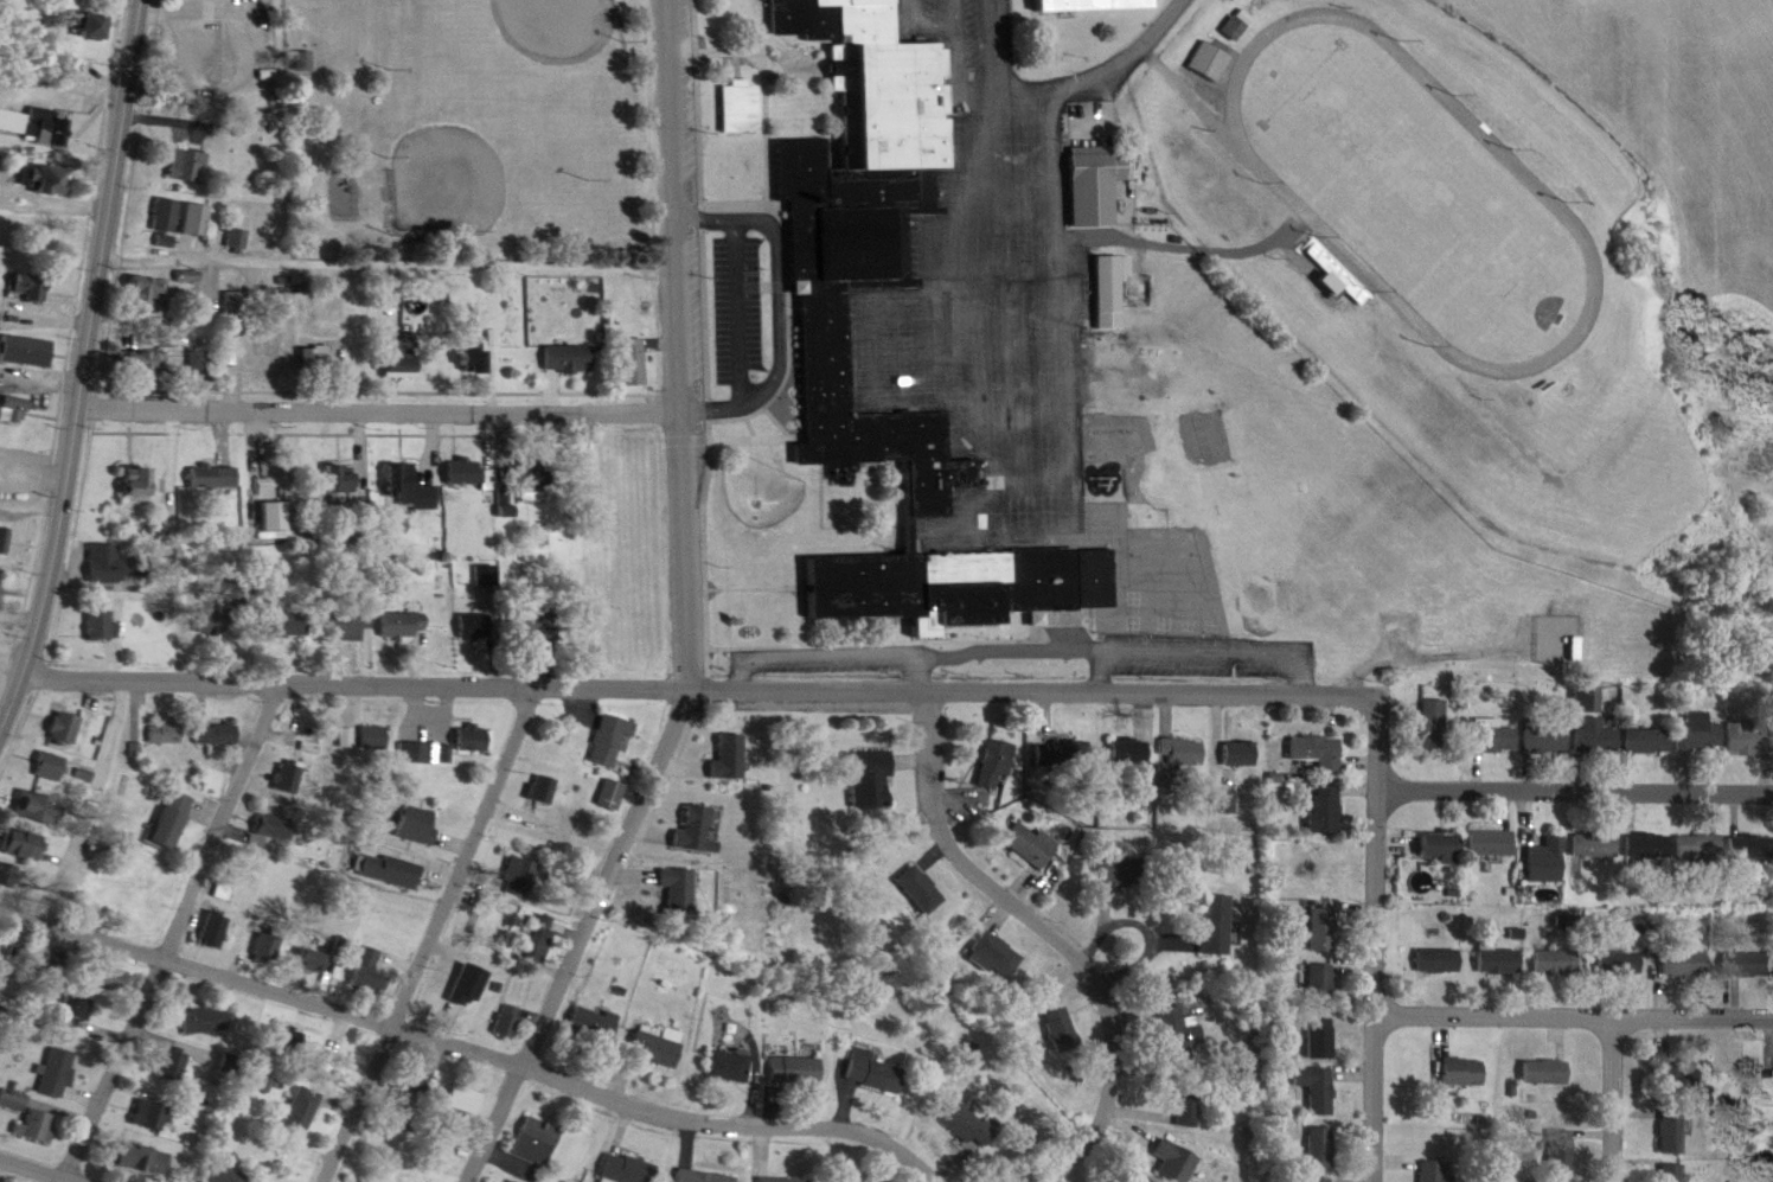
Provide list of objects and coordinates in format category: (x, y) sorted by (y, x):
road: (226, 5)
road: (933, 5)
building: (1096, 5)
park: (559, 18)
building: (98, 25)
parking lot: (947, 25)
building: (1237, 27)
flagpole: (798, 33)
road: (994, 41)
road: (770, 43)
parking lot: (225, 44)
road: (734, 49)
flagpole: (378, 56)
road: (960, 56)
building: (1214, 60)
road: (1102, 66)
road: (193, 69)
building: (734, 89)
building: (743, 107)
road: (174, 108)
building: (49, 109)
road: (766, 113)
road: (207, 123)
building: (20, 124)
park: (486, 126)
building: (188, 151)
road: (1011, 160)
building: (188, 165)
building: (50, 167)
building: (1088, 170)
park: (447, 173)
building: (34, 178)
building: (850, 185)
building: (166, 199)
building: (194, 203)
road: (1004, 209)
building: (199, 219)
building: (167, 221)
building: (237, 223)
building: (239, 238)
road: (393, 251)
road: (1006, 256)
building: (140, 271)
building: (34, 273)
flagpole: (786, 277)
building: (1334, 282)
building: (232, 286)
building: (32, 288)
building: (149, 289)
road: (780, 293)
building: (1110, 293)
parking lot: (740, 295)
road: (738, 299)
road: (1061, 299)
building: (238, 304)
parking lot: (975, 308)
road: (953, 312)
building: (26, 333)
building: (263, 333)
road: (683, 336)
road: (72, 338)
building: (469, 338)
building: (314, 339)
building: (187, 340)
building: (396, 341)
building: (135, 344)
building: (565, 344)
building: (631, 345)
building: (30, 351)
building: (273, 356)
building: (476, 357)
building: (318, 358)
building: (572, 358)
building: (403, 359)
building: (203, 360)
road: (89, 362)
building: (145, 362)
road: (236, 362)
road: (786, 362)
road: (882, 375)
road: (382, 376)
road: (103, 390)
building: (14, 392)
road: (384, 396)
road: (748, 408)
road: (777, 409)
building: (12, 410)
road: (324, 420)
road: (689, 426)
road: (753, 426)
building: (457, 455)
building: (212, 458)
road: (39, 459)
building: (529, 459)
building: (339, 462)
building: (486, 464)
road: (1030, 464)
building: (136, 467)
road: (708, 468)
building: (408, 469)
building: (468, 473)
building: (217, 477)
building: (345, 479)
building: (142, 484)
building: (505, 484)
building: (412, 490)
building: (535, 494)
building: (270, 500)
building: (901, 513)
building: (279, 516)
road: (1007, 520)
building: (4, 524)
building: (5, 539)
building: (114, 544)
building: (482, 558)
building: (116, 564)
building: (233, 573)
road: (785, 573)
flagpole: (1017, 598)
building: (279, 606)
building: (397, 606)
building: (212, 607)
building: (344, 607)
building: (466, 607)
building: (529, 608)
building: (101, 609)
building: (1438, 618)
building: (217, 621)
building: (290, 624)
building: (407, 624)
building: (535, 624)
building: (103, 625)
building: (352, 625)
building: (476, 625)
road: (866, 628)
building: (1566, 631)
road: (1217, 635)
road: (1420, 637)
road: (929, 643)
road: (14, 645)
road: (1300, 658)
road: (945, 676)
road: (866, 691)
building: (1425, 709)
building: (63, 713)
building: (1688, 714)
building: (164, 717)
building: (1587, 717)
building: (213, 718)
building: (602, 720)
building: (1537, 720)
building: (1486, 721)
building: (1638, 721)
building: (1735, 721)
building: (365, 723)
building: (468, 723)
building: (1434, 723)
building: (68, 728)
building: (168, 733)
building: (1310, 733)
building: (1700, 733)
building: (421, 734)
building: (219, 735)
building: (1126, 735)
building: (1238, 735)
building: (1494, 735)
building: (1062, 736)
building: (1178, 736)
building: (1547, 736)
building: (1598, 736)
building: (373, 737)
building: (476, 737)
building: (610, 741)
building: (1649, 741)
building: (1749, 741)
building: (724, 742)
road: (911, 746)
building: (994, 747)
building: (46, 749)
building: (1183, 750)
building: (1319, 750)
building: (415, 753)
building: (1074, 753)
building: (1131, 753)
road: (681, 754)
building: (1242, 754)
building: (731, 758)
building: (868, 760)
building: (283, 761)
building: (998, 765)
building: (53, 767)
building: (538, 771)
building: (290, 777)
building: (607, 778)
road: (89, 784)
building: (1223, 785)
road: (961, 786)
building: (30, 790)
building: (546, 790)
building: (1321, 793)
building: (614, 794)
building: (166, 801)
building: (1225, 801)
building: (41, 807)
building: (412, 810)
building: (262, 814)
building: (691, 814)
road: (648, 818)
building: (175, 819)
building: (418, 825)
building: (19, 826)
building: (1487, 826)
building: (1589, 826)
building: (1643, 826)
building: (1031, 828)
building: (1694, 828)
building: (697, 829)
building: (1433, 829)
building: (1746, 829)
building: (275, 831)
road: (936, 843)
building: (1494, 843)
building: (1541, 843)
building: (26, 845)
building: (1598, 845)
building: (1651, 845)
building: (1032, 848)
building: (1446, 848)
building: (1701, 848)
building: (1753, 848)
building: (385, 852)
building: (1124, 856)
building: (6, 857)
building: (512, 858)
building: (1550, 861)
road: (609, 862)
road: (633, 862)
road: (1039, 869)
building: (392, 870)
building: (918, 871)
building: (677, 873)
building: (1126, 873)
road: (1108, 888)
building: (924, 890)
road: (1001, 903)
building: (1215, 909)
building: (207, 913)
building: (1319, 913)
road: (1150, 919)
building: (538, 921)
road: (172, 925)
road: (1178, 926)
road: (430, 927)
road: (1065, 928)
building: (216, 929)
building: (1326, 929)
building: (257, 933)
building: (991, 937)
park: (1122, 937)
building: (302, 944)
building: (1438, 944)
building: (1498, 944)
building: (1556, 945)
building: (1620, 945)
building: (268, 946)
building: (1684, 946)
building: (1746, 947)
building: (365, 954)
building: (998, 954)
building: (314, 960)
building: (1445, 960)
building: (1505, 961)
building: (1561, 963)
building: (1625, 963)
building: (1690, 964)
building: (1750, 964)
building: (58, 966)
building: (1318, 967)
building: (369, 971)
road: (260, 973)
road: (1378, 978)
building: (114, 979)
building: (1324, 984)
road: (1152, 988)
road: (1086, 989)
building: (448, 999)
road: (1575, 1003)
building: (503, 1005)
building: (591, 1007)
building: (84, 1009)
building: (1060, 1011)
building: (1177, 1017)
building: (206, 1021)
building: (507, 1021)
building: (1318, 1021)
building: (595, 1024)
building: (651, 1030)
building: (1323, 1039)
building: (292, 1044)
building: (659, 1047)
road: (591, 1048)
building: (724, 1048)
building: (1543, 1053)
building: (792, 1054)
building: (870, 1054)
building: (1457, 1055)
building: (1682, 1056)
road: (622, 1061)
building: (731, 1066)
road: (755, 1066)
building: (173, 1067)
building: (798, 1071)
building: (1313, 1072)
building: (1466, 1072)
building: (1550, 1072)
building: (57, 1073)
building: (876, 1073)
building: (1689, 1074)
building: (416, 1085)
road: (772, 1088)
road: (845, 1088)
building: (1186, 1088)
building: (1320, 1088)
road: (1615, 1093)
building: (466, 1099)
road: (1142, 1099)
building: (1190, 1106)
building: (960, 1107)
building: (302, 1110)
road: (743, 1110)
road: (621, 1113)
road: (1132, 1113)
building: (1668, 1113)
building: (154, 1114)
building: (30, 1117)
road: (493, 1117)
building: (531, 1124)
building: (968, 1125)
road: (684, 1129)
building: (1316, 1130)
building: (1676, 1132)
building: (1556, 1133)
road: (760, 1135)
building: (537, 1141)
road: (506, 1145)
road: (950, 1146)
building: (1173, 1146)
building: (1323, 1148)
building: (1563, 1152)
building: (623, 1154)
building: (149, 1158)
road: (64, 1163)
building: (1432, 1164)
building: (1668, 1164)
building: (628, 1169)
building: (697, 1169)
building: (774, 1170)
road: (1064, 1171)
building: (1317, 1171)
building: (226, 1175)
building: (860, 1181)
road: (948, 1181)

